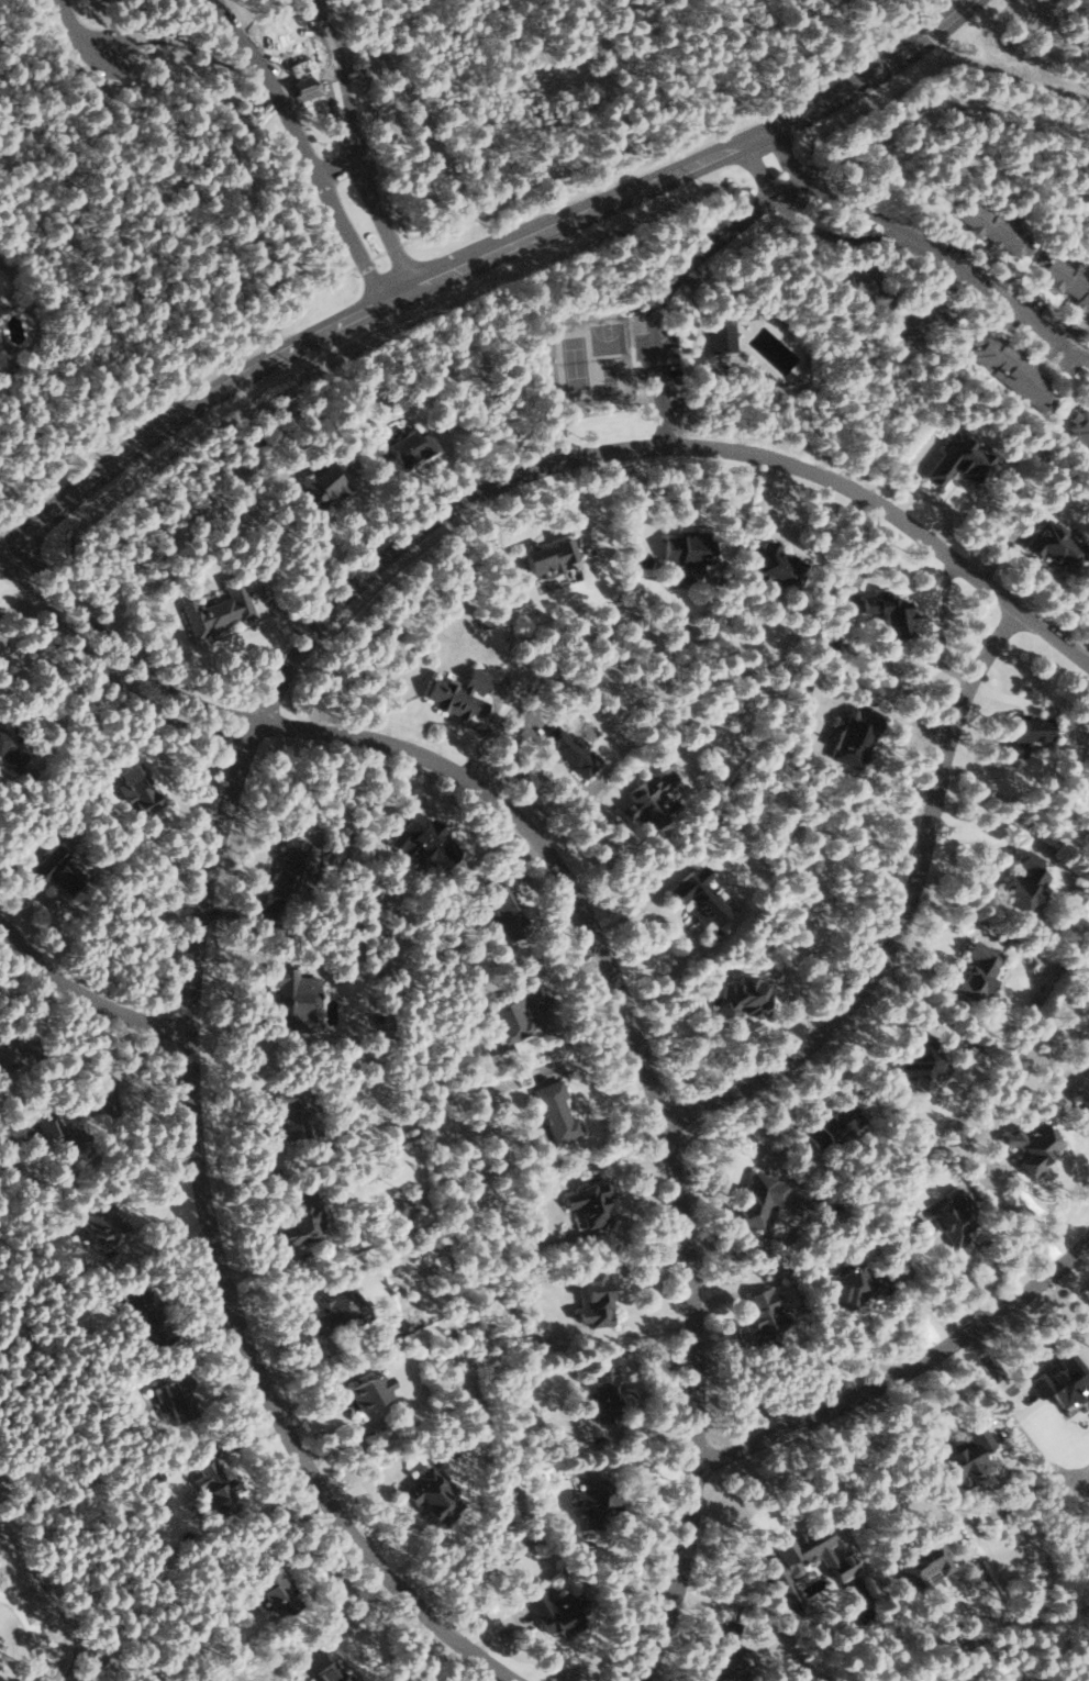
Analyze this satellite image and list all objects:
road: (89, 30)
road: (302, 54)
road: (985, 65)
building: (303, 87)
road: (654, 131)
road: (363, 146)
road: (312, 147)
road: (346, 168)
road: (838, 201)
building: (994, 227)
road: (914, 243)
road: (477, 261)
building: (1066, 278)
road: (676, 281)
building: (867, 283)
building: (721, 333)
road: (190, 355)
park: (593, 361)
building: (1013, 370)
building: (1080, 424)
building: (409, 445)
building: (963, 460)
road: (898, 515)
road: (426, 533)
building: (1058, 545)
building: (690, 548)
building: (551, 556)
building: (778, 566)
building: (218, 608)
building: (891, 612)
building: (488, 620)
road: (113, 675)
building: (459, 694)
building: (1026, 733)
building: (855, 738)
building: (573, 749)
building: (10, 752)
building: (137, 788)
building: (652, 798)
building: (425, 839)
building: (290, 869)
building: (57, 871)
building: (1024, 882)
building: (699, 897)
road: (904, 910)
building: (503, 913)
road: (600, 953)
building: (979, 971)
building: (745, 998)
building: (292, 1000)
road: (85, 1004)
building: (513, 1011)
building: (7, 1053)
building: (920, 1060)
building: (1085, 1096)
building: (556, 1111)
building: (833, 1125)
building: (60, 1135)
building: (1036, 1147)
building: (759, 1200)
building: (592, 1203)
building: (957, 1215)
building: (302, 1218)
building: (103, 1225)
road: (216, 1250)
building: (856, 1280)
building: (596, 1296)
building: (144, 1309)
building: (332, 1310)
building: (767, 1311)
road: (901, 1368)
building: (1063, 1380)
building: (604, 1392)
building: (176, 1395)
building: (968, 1455)
road: (96, 1476)
building: (216, 1484)
building: (432, 1493)
building: (596, 1501)
park: (53, 1556)
building: (807, 1558)
building: (924, 1562)
building: (275, 1585)
road: (48, 1587)
building: (557, 1613)
park: (1000, 1613)
building: (729, 1656)
building: (334, 1671)

